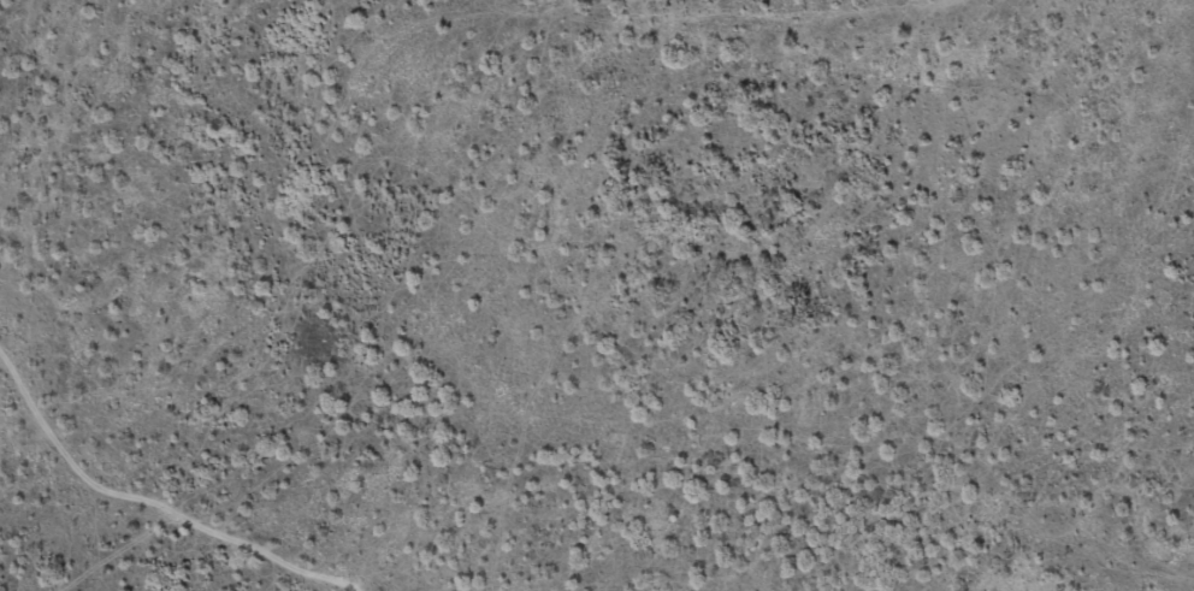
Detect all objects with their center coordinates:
road: (105, 543)

